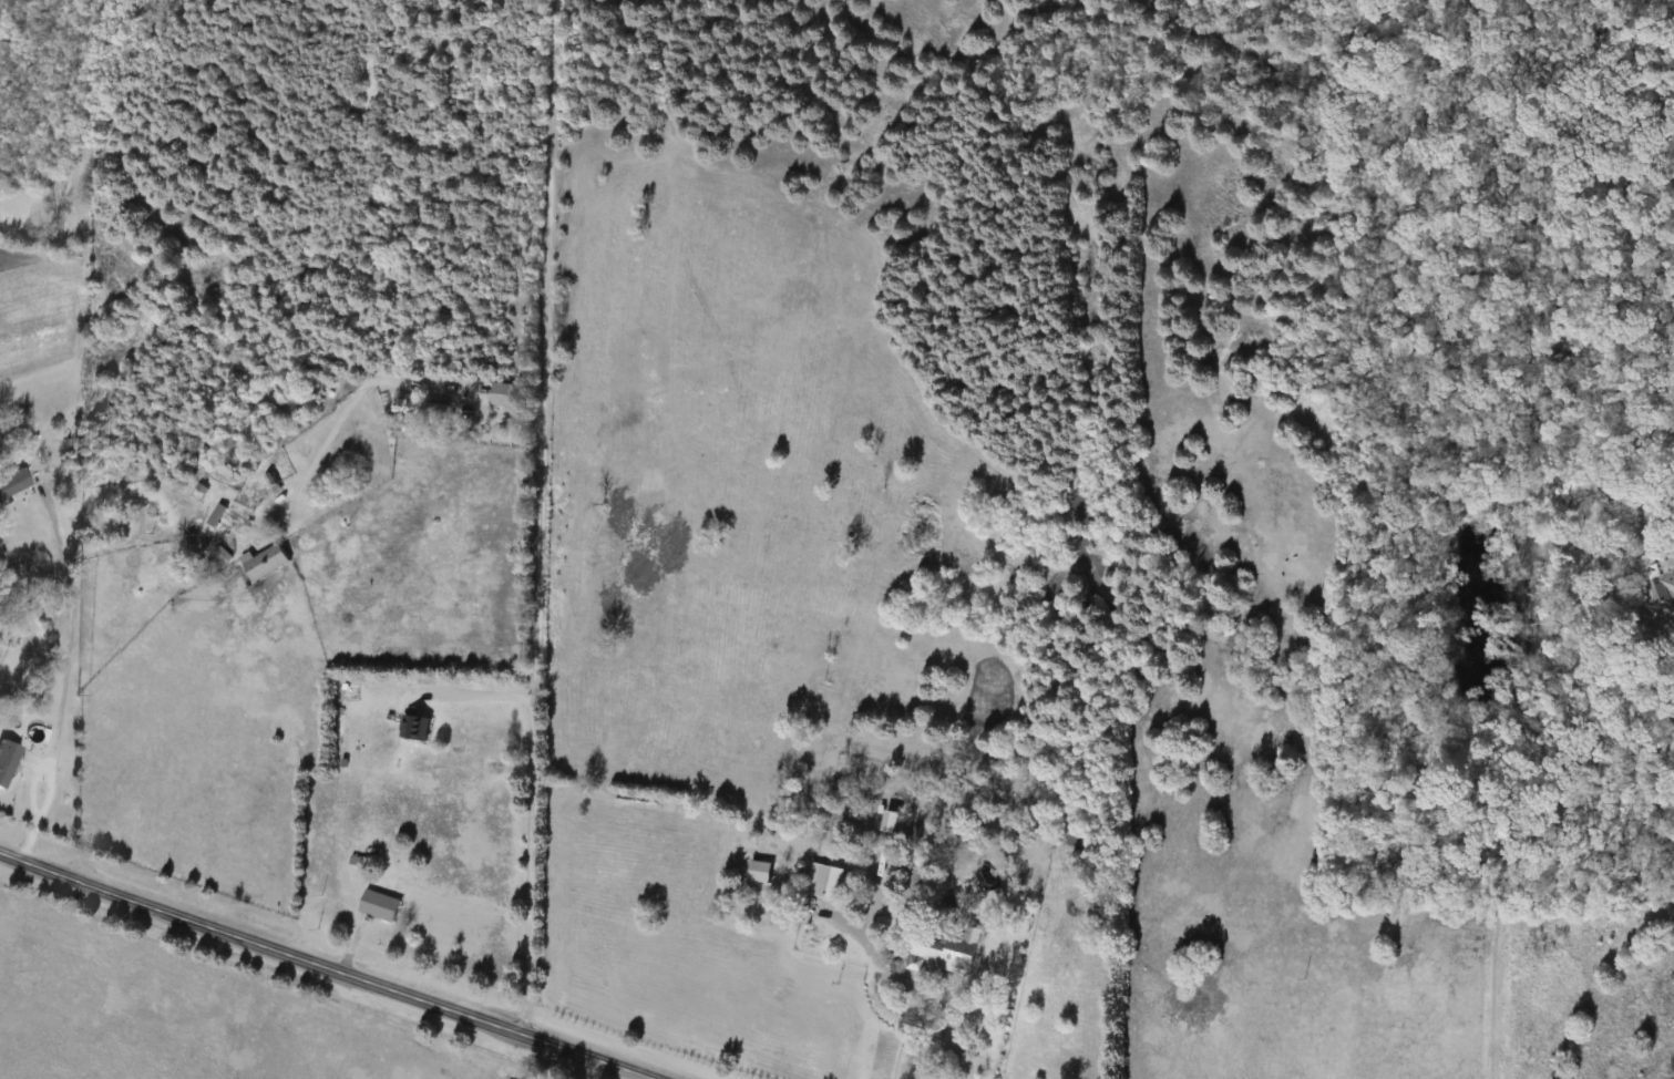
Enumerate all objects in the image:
building: (502, 394)
building: (420, 409)
building: (270, 481)
road: (535, 513)
building: (214, 514)
building: (264, 561)
building: (1646, 583)
road: (68, 672)
road: (476, 695)
building: (411, 727)
building: (13, 760)
building: (1077, 840)
building: (754, 870)
building: (821, 880)
building: (377, 904)
building: (942, 950)
road: (337, 963)
road: (1498, 986)
road: (927, 1011)

